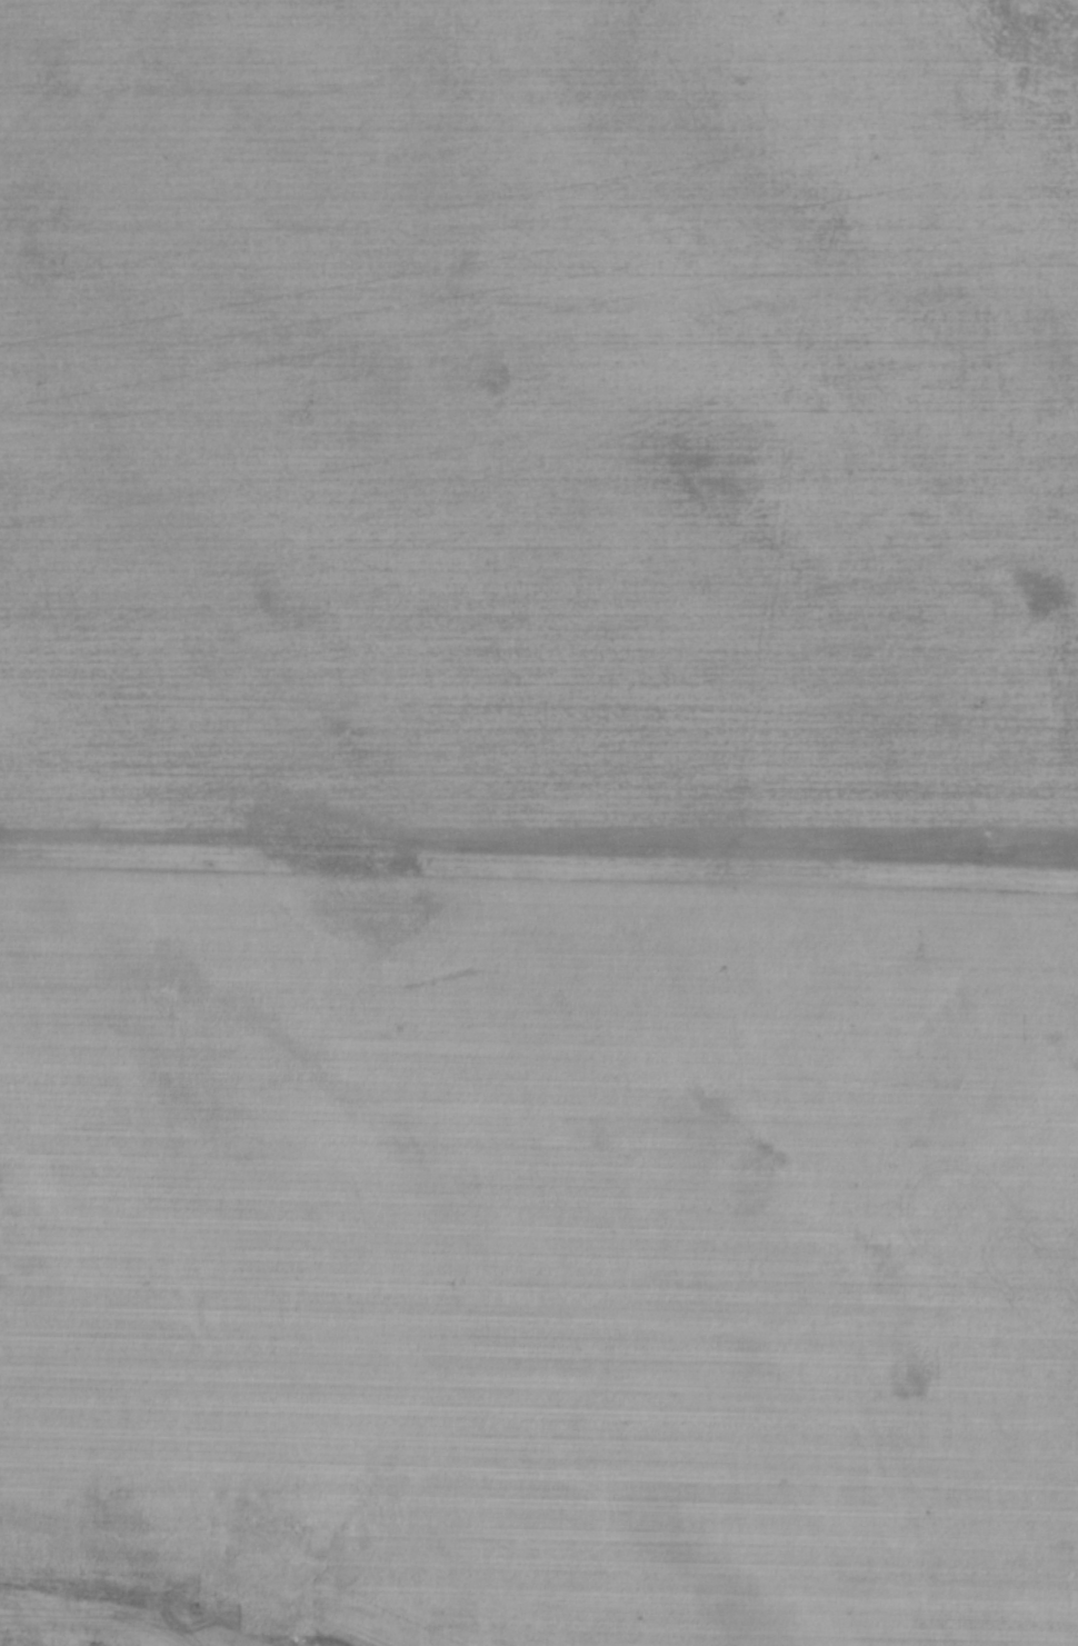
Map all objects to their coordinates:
crop: (539, 822)

